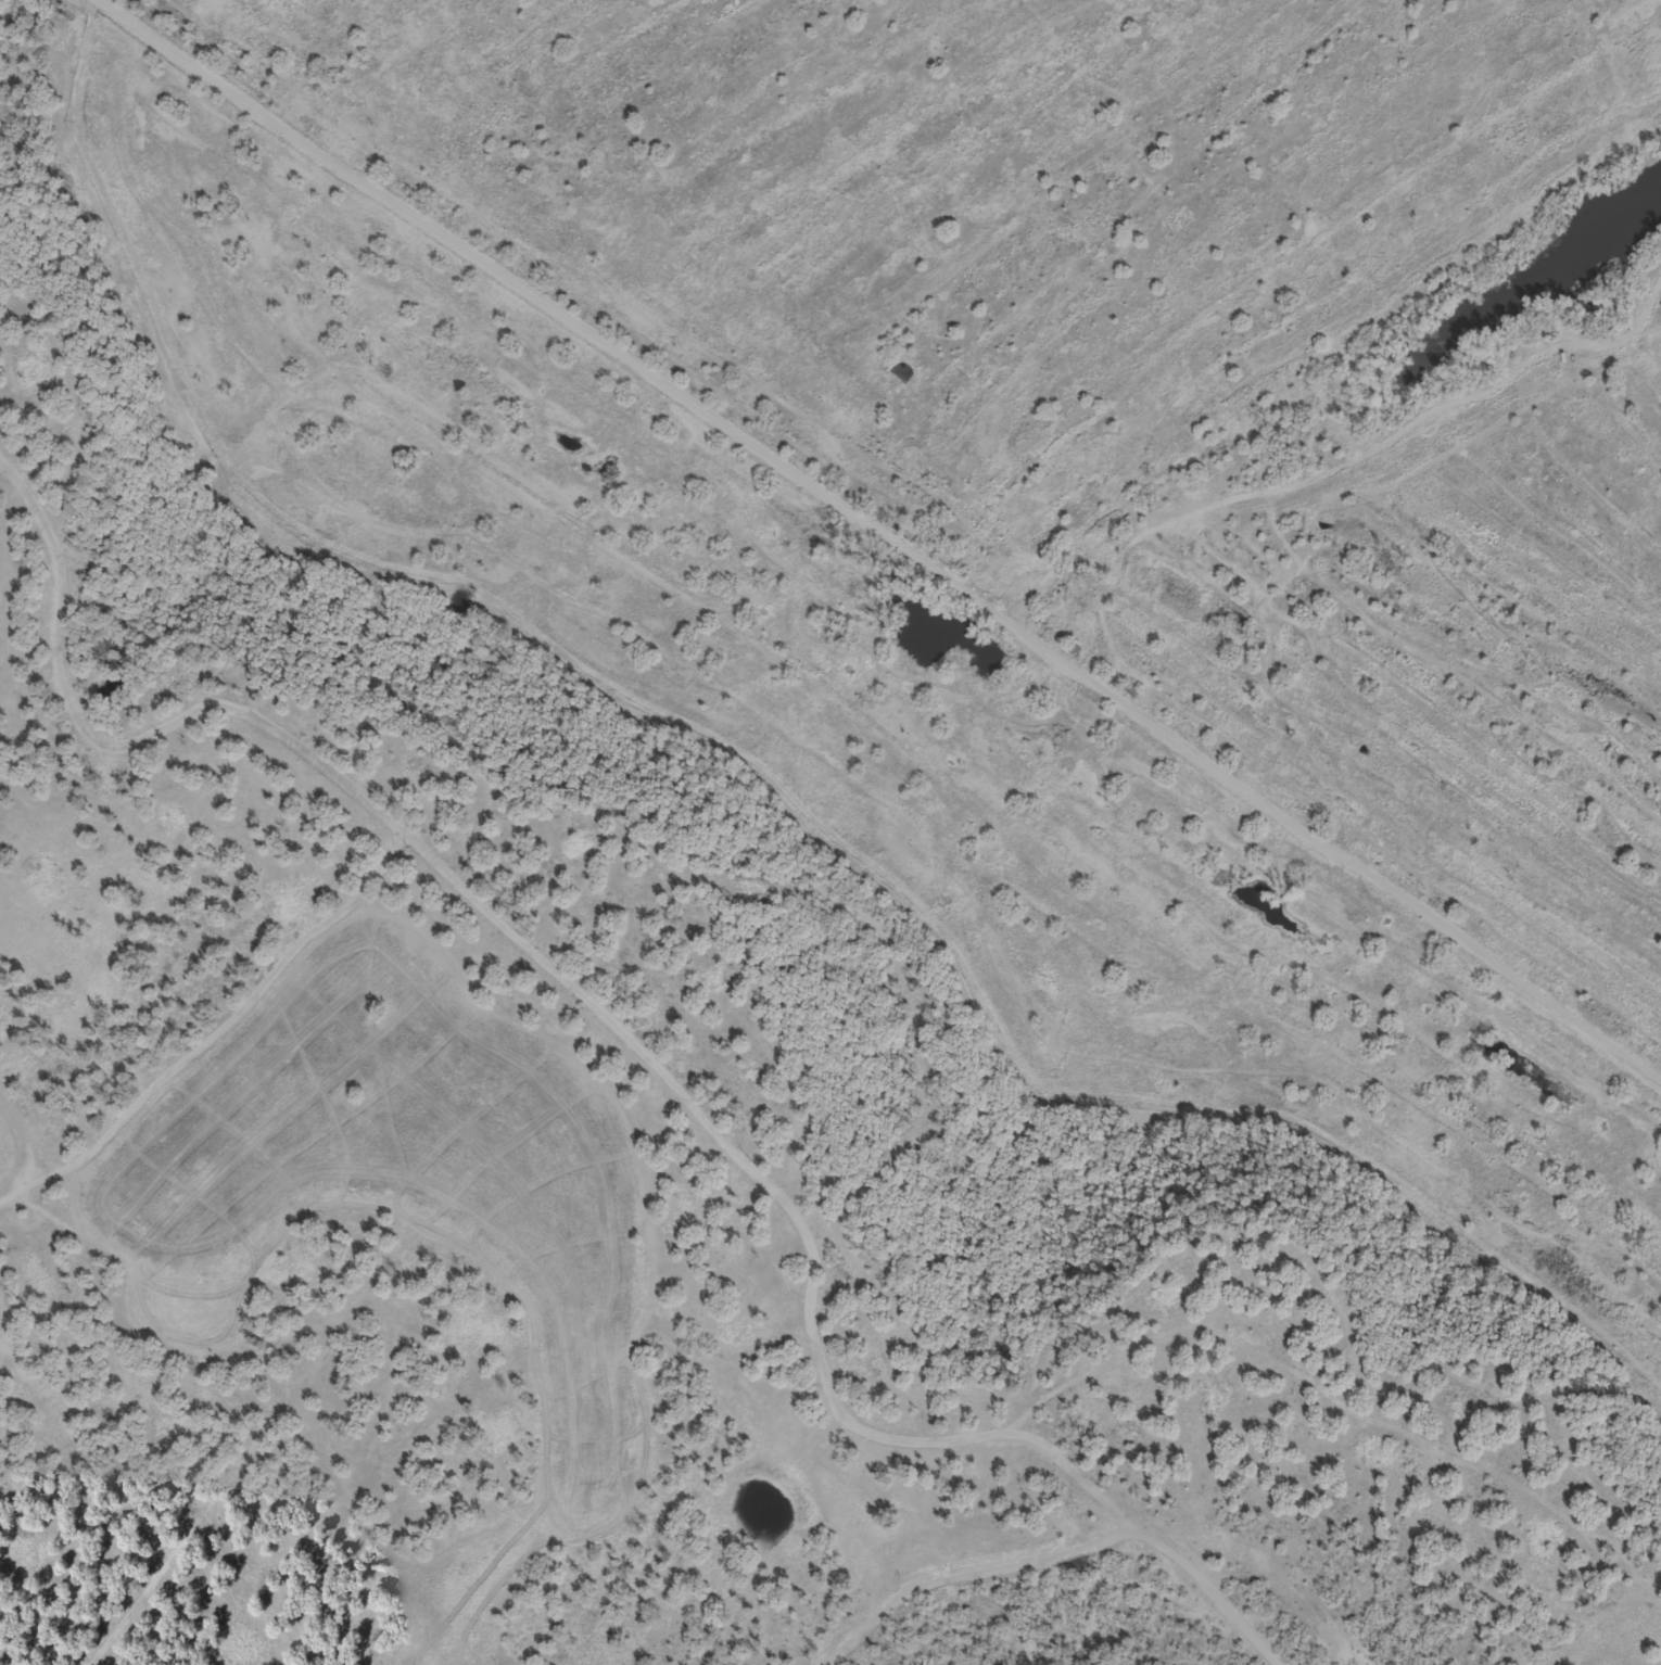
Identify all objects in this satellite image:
road: (884, 541)
road: (630, 1037)

